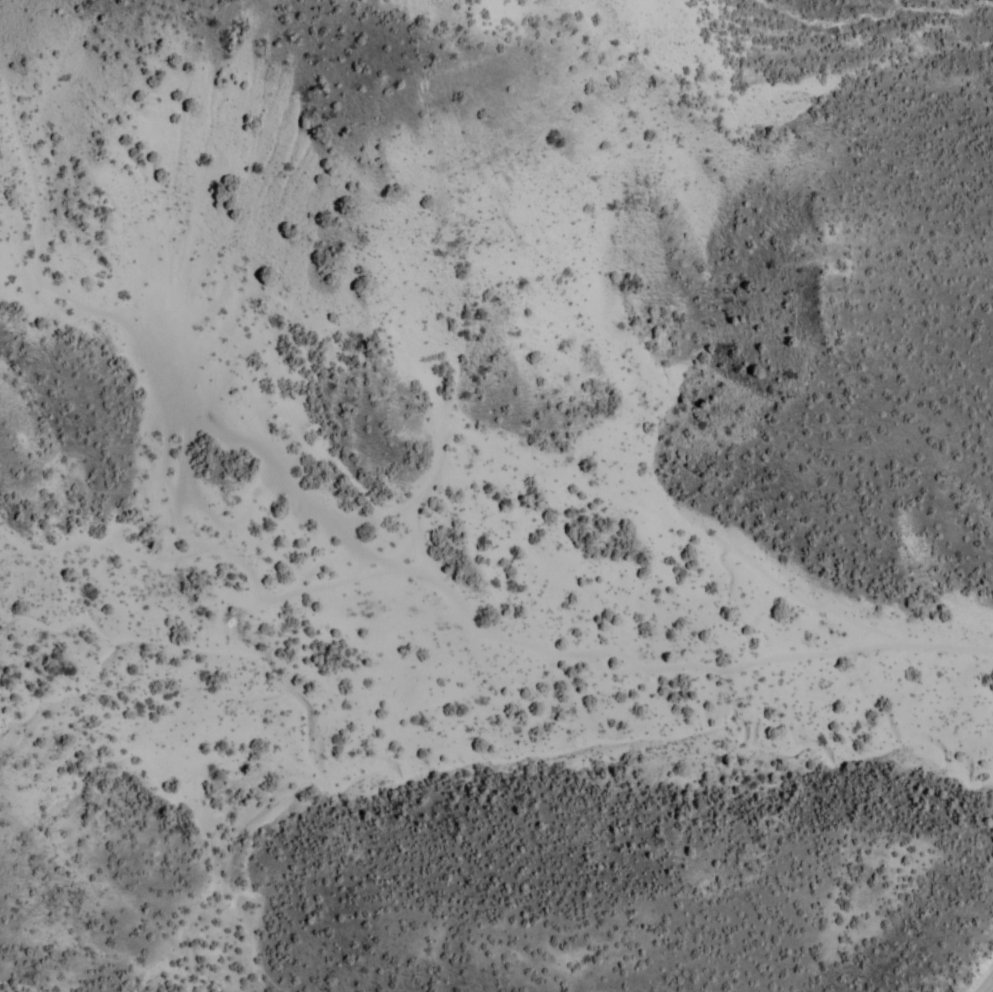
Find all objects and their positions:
road: (987, 985)

